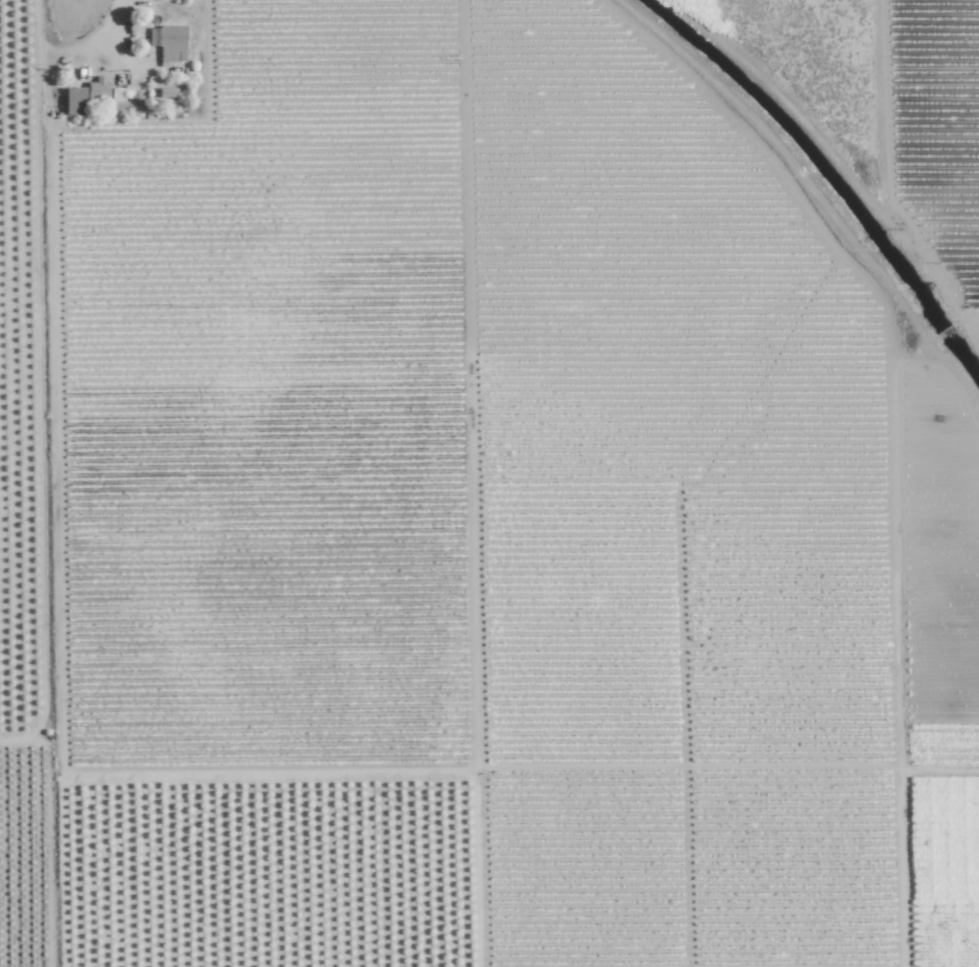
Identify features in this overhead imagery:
road: (116, 24)
building: (168, 42)
building: (96, 87)
building: (73, 100)

